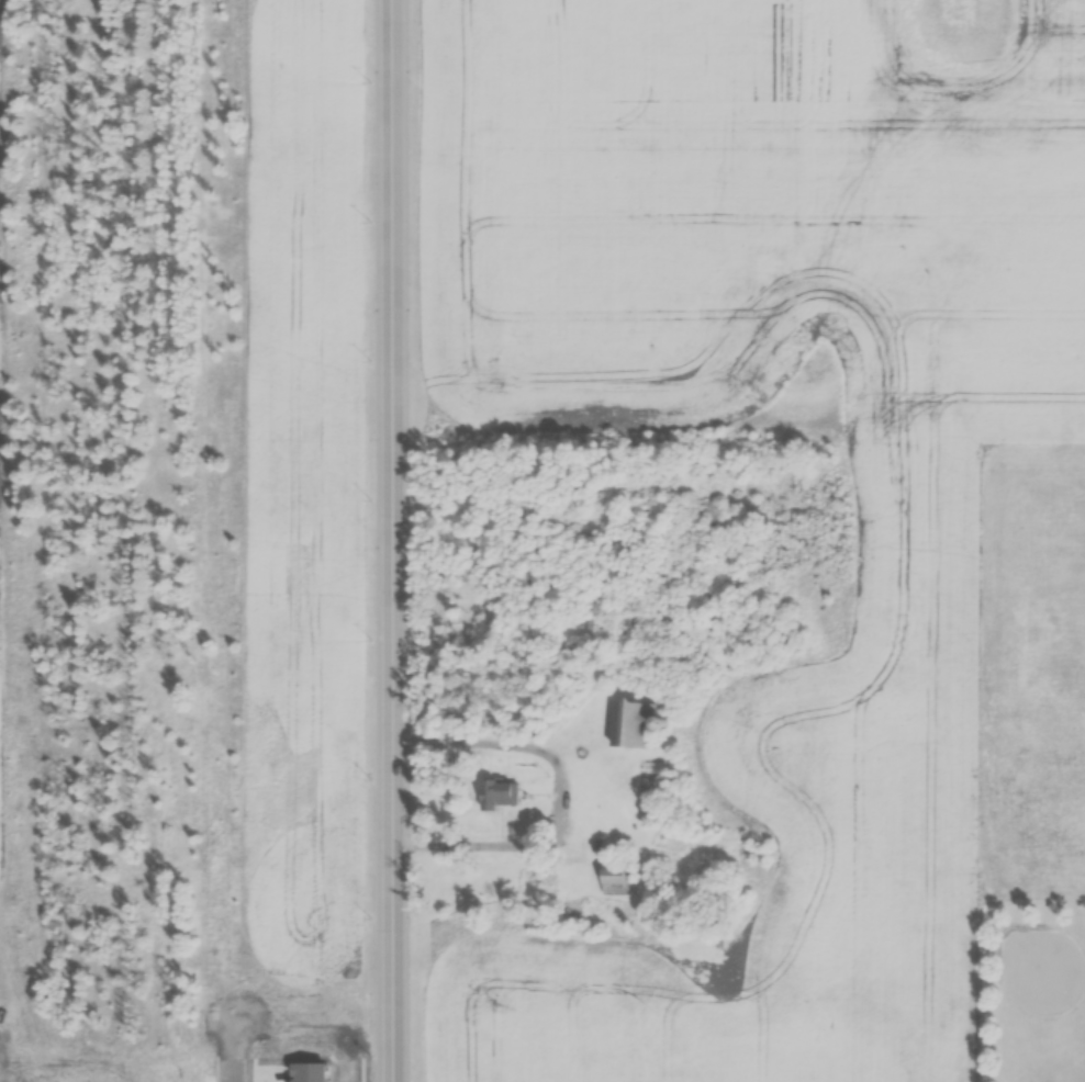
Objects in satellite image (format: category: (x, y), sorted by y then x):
road: (388, 540)
building: (636, 724)
building: (503, 794)
building: (620, 880)
park: (1039, 969)

